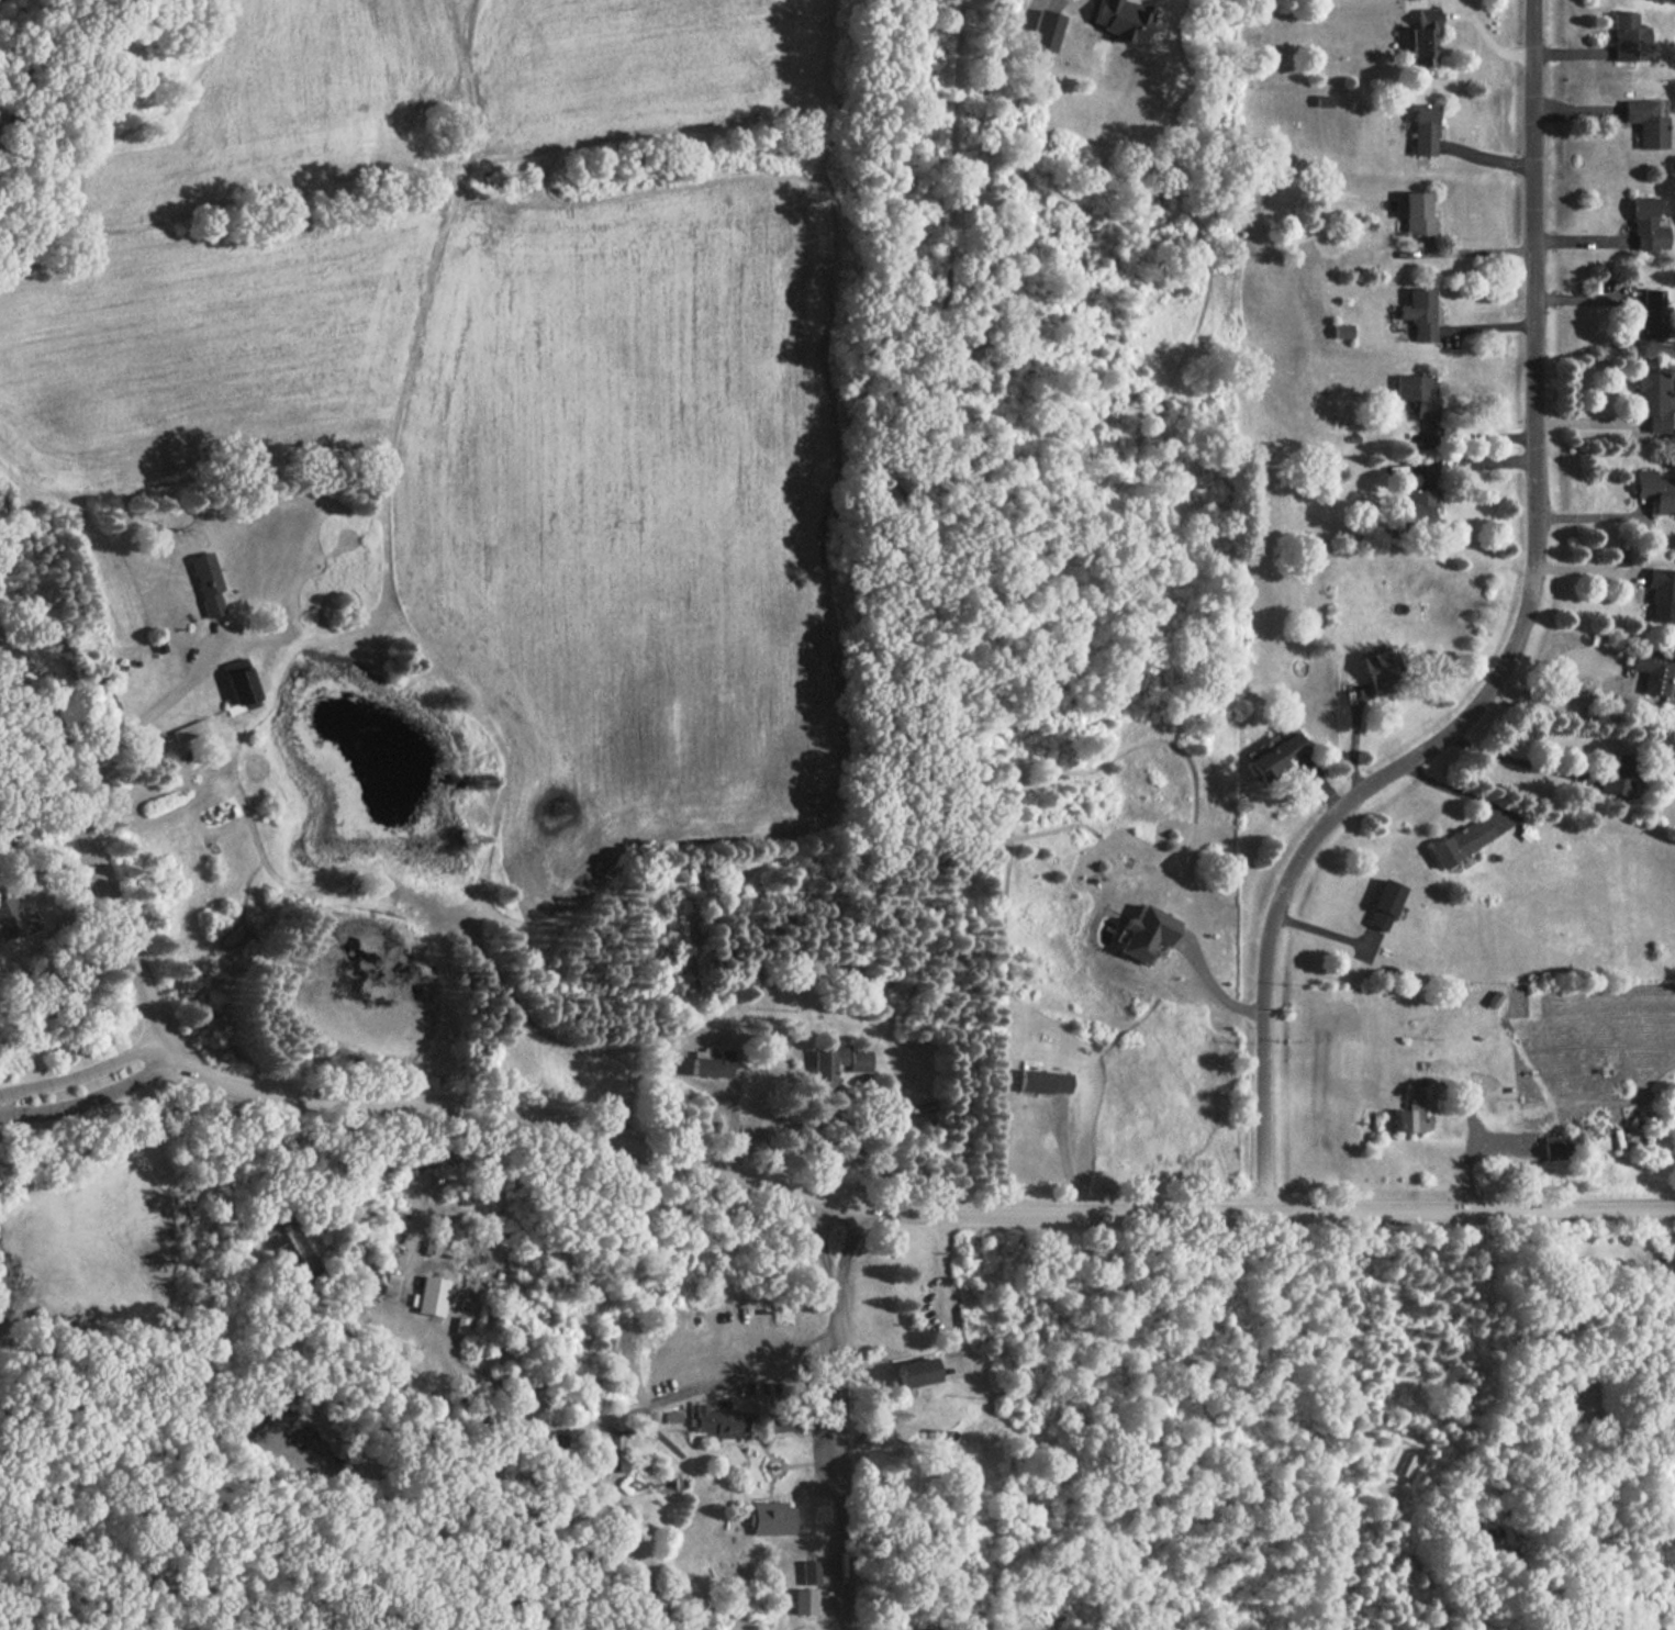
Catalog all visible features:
building: (1123, 20)
building: (1045, 30)
road: (1485, 36)
building: (1628, 37)
building: (1421, 38)
building: (1322, 100)
building: (1645, 121)
building: (1423, 129)
building: (1417, 214)
building: (1646, 225)
road: (1479, 252)
building: (1419, 313)
building: (1651, 313)
building: (1342, 332)
building: (1417, 393)
building: (1653, 401)
road: (1589, 422)
road: (1471, 439)
road: (1478, 462)
building: (1655, 490)
building: (1418, 506)
road: (1593, 516)
road: (1586, 571)
building: (208, 583)
building: (1662, 594)
road: (1508, 655)
building: (1382, 670)
building: (1653, 671)
building: (241, 683)
road: (1567, 695)
building: (108, 706)
road: (145, 722)
building: (189, 730)
road: (19, 751)
building: (1275, 753)
road: (1522, 761)
building: (1619, 773)
road: (19, 789)
road: (1459, 793)
building: (1460, 841)
building: (1382, 905)
building: (13, 919)
building: (1146, 933)
road: (1211, 986)
building: (858, 1060)
building: (712, 1064)
building: (826, 1067)
road: (85, 1069)
building: (1042, 1081)
road: (92, 1097)
building: (1414, 1109)
building: (1555, 1147)
road: (1466, 1150)
road: (1061, 1154)
road: (700, 1164)
building: (278, 1242)
building: (300, 1243)
road: (824, 1246)
building: (427, 1247)
road: (845, 1249)
building: (293, 1263)
building: (395, 1271)
building: (304, 1286)
building: (431, 1296)
road: (947, 1296)
building: (465, 1305)
building: (461, 1326)
building: (914, 1372)
building: (673, 1416)
building: (788, 1417)
road: (601, 1421)
building: (717, 1421)
parking lot: (826, 1445)
road: (839, 1460)
building: (1403, 1463)
building: (623, 1467)
road: (614, 1493)
building: (561, 1512)
building: (770, 1518)
building: (809, 1571)
building: (583, 1577)
parking lot: (833, 1593)
building: (803, 1601)
building: (934, 1628)

